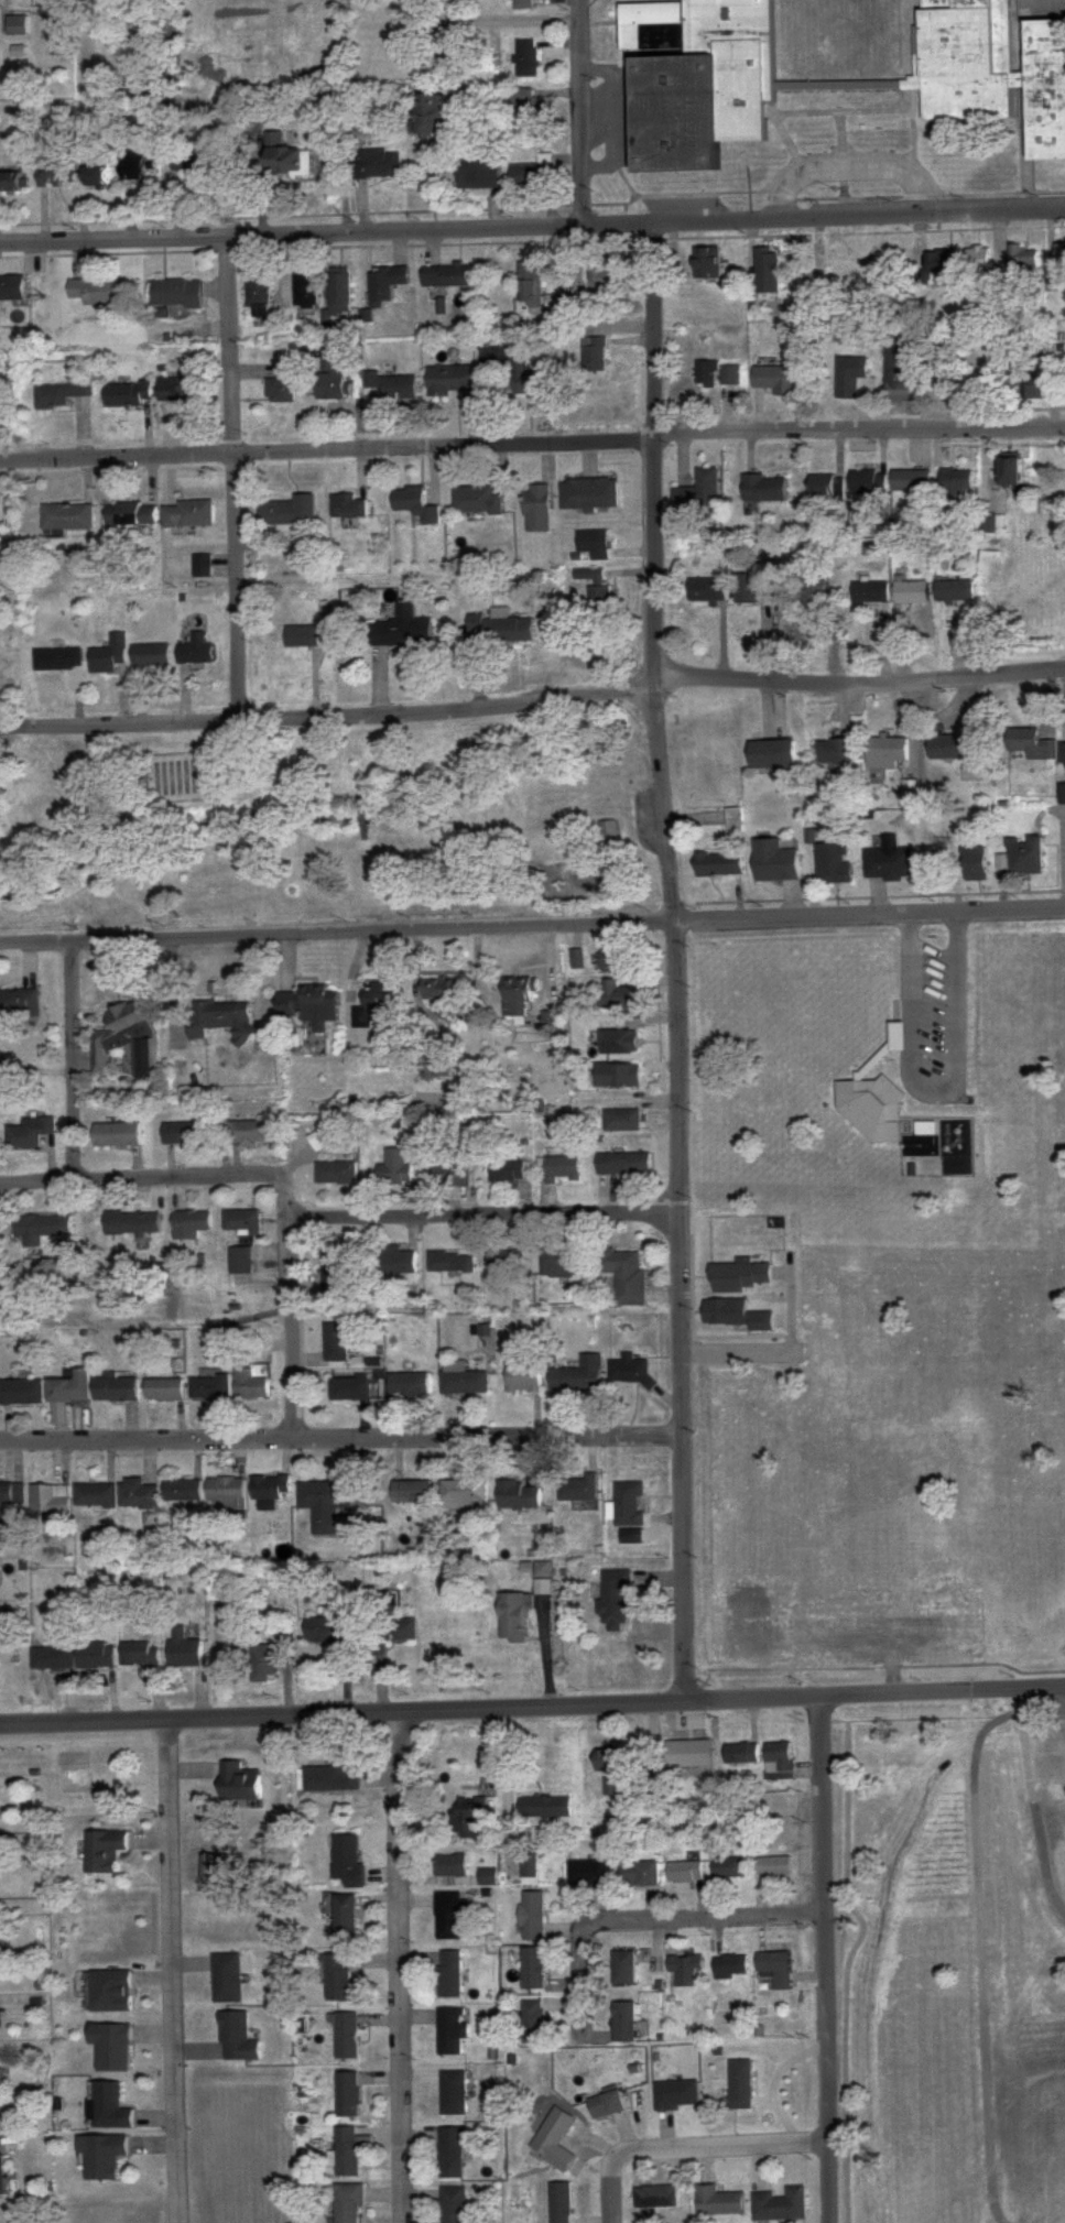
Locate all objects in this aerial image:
building: (520, 4)
building: (17, 25)
building: (525, 58)
building: (993, 68)
building: (695, 78)
building: (523, 108)
road: (580, 111)
building: (430, 117)
building: (287, 162)
building: (377, 164)
building: (138, 165)
building: (213, 165)
road: (851, 166)
building: (533, 173)
building: (478, 174)
building: (97, 176)
building: (12, 182)
road: (532, 225)
building: (1058, 257)
building: (977, 258)
building: (1023, 261)
building: (706, 263)
building: (938, 266)
building: (839, 271)
building: (604, 272)
building: (447, 275)
building: (767, 277)
building: (385, 283)
building: (531, 285)
building: (306, 287)
building: (13, 290)
building: (339, 291)
building: (98, 292)
building: (174, 294)
building: (258, 295)
building: (559, 306)
building: (594, 355)
building: (900, 370)
building: (510, 372)
building: (718, 374)
building: (774, 380)
building: (329, 382)
building: (452, 382)
building: (282, 383)
building: (933, 383)
building: (392, 385)
building: (1035, 388)
building: (63, 393)
building: (177, 393)
building: (127, 394)
road: (532, 446)
building: (1009, 469)
road: (233, 478)
building: (911, 480)
building: (869, 482)
building: (956, 483)
building: (827, 487)
building: (764, 489)
building: (699, 491)
building: (589, 494)
building: (476, 501)
building: (414, 504)
building: (348, 506)
building: (537, 509)
building: (287, 511)
building: (131, 514)
building: (188, 514)
building: (67, 517)
building: (990, 524)
building: (593, 544)
building: (202, 566)
road: (652, 569)
building: (595, 588)
building: (811, 588)
building: (752, 589)
building: (707, 590)
building: (911, 591)
building: (870, 592)
building: (954, 592)
building: (401, 629)
building: (502, 629)
building: (302, 636)
building: (197, 652)
building: (109, 655)
building: (151, 655)
building: (57, 660)
road: (533, 699)
building: (1031, 744)
building: (953, 748)
building: (834, 751)
building: (1062, 752)
building: (887, 753)
building: (772, 755)
building: (971, 772)
park: (175, 776)
building: (910, 792)
building: (1062, 794)
building: (735, 820)
park: (332, 824)
building: (609, 833)
building: (1024, 856)
building: (936, 857)
building: (774, 862)
building: (972, 862)
building: (834, 864)
building: (887, 864)
building: (719, 865)
road: (532, 924)
building: (576, 960)
building: (610, 962)
building: (438, 989)
building: (617, 994)
building: (518, 999)
building: (19, 1003)
building: (308, 1006)
building: (376, 1006)
building: (225, 1020)
building: (127, 1040)
building: (618, 1042)
road: (74, 1060)
building: (442, 1064)
building: (617, 1076)
building: (876, 1097)
building: (622, 1120)
building: (926, 1127)
building: (30, 1133)
building: (117, 1134)
building: (182, 1134)
building: (247, 1134)
building: (320, 1140)
building: (623, 1164)
building: (559, 1169)
building: (507, 1170)
building: (336, 1174)
building: (394, 1174)
building: (452, 1174)
road: (163, 1176)
road: (485, 1216)
building: (241, 1221)
building: (192, 1223)
building: (133, 1225)
building: (37, 1230)
building: (241, 1260)
building: (452, 1262)
building: (400, 1263)
building: (508, 1263)
building: (562, 1263)
building: (334, 1268)
building: (626, 1276)
road: (680, 1311)
road: (292, 1328)
building: (336, 1341)
building: (630, 1370)
building: (579, 1375)
building: (523, 1379)
building: (465, 1382)
building: (251, 1383)
building: (413, 1385)
building: (210, 1386)
building: (69, 1388)
building: (348, 1388)
building: (116, 1390)
building: (163, 1390)
building: (23, 1392)
road: (340, 1438)
building: (578, 1489)
building: (183, 1491)
building: (270, 1492)
building: (226, 1493)
building: (412, 1493)
building: (137, 1494)
building: (465, 1494)
building: (95, 1495)
building: (519, 1495)
building: (10, 1497)
building: (50, 1500)
building: (629, 1504)
building: (323, 1506)
building: (543, 1569)
building: (616, 1600)
building: (513, 1615)
building: (405, 1628)
building: (328, 1630)
building: (184, 1649)
building: (140, 1655)
building: (97, 1656)
building: (54, 1658)
building: (264, 1663)
road: (532, 1709)
building: (742, 1754)
building: (694, 1759)
building: (779, 1761)
building: (1047, 1767)
building: (609, 1769)
building: (239, 1783)
building: (545, 1807)
building: (468, 1817)
building: (104, 1851)
building: (348, 1860)
building: (1063, 1863)
building: (452, 1866)
building: (529, 1866)
building: (773, 1866)
building: (217, 1867)
building: (729, 1870)
building: (685, 1872)
building: (589, 1873)
building: (638, 1874)
building: (449, 1916)
building: (533, 1916)
road: (710, 1916)
building: (345, 1919)
building: (772, 1962)
road: (825, 1962)
road: (399, 1966)
road: (580, 1966)
building: (730, 1966)
road: (840, 1966)
building: (533, 1969)
building: (623, 1969)
building: (684, 1970)
road: (170, 1971)
building: (450, 1974)
building: (227, 1977)
building: (338, 1977)
building: (111, 1992)
building: (533, 2023)
building: (623, 2023)
building: (452, 2030)
building: (347, 2036)
building: (237, 2038)
building: (111, 2047)
building: (0, 2074)
building: (740, 2084)
building: (454, 2093)
building: (348, 2094)
building: (676, 2094)
building: (605, 2103)
building: (110, 2106)
building: (554, 2139)
road: (687, 2146)
building: (348, 2151)
building: (452, 2153)
building: (104, 2156)
building: (1, 2175)
building: (655, 2197)
building: (349, 2202)
building: (559, 2202)
building: (718, 2202)
building: (454, 2204)
building: (779, 2205)

